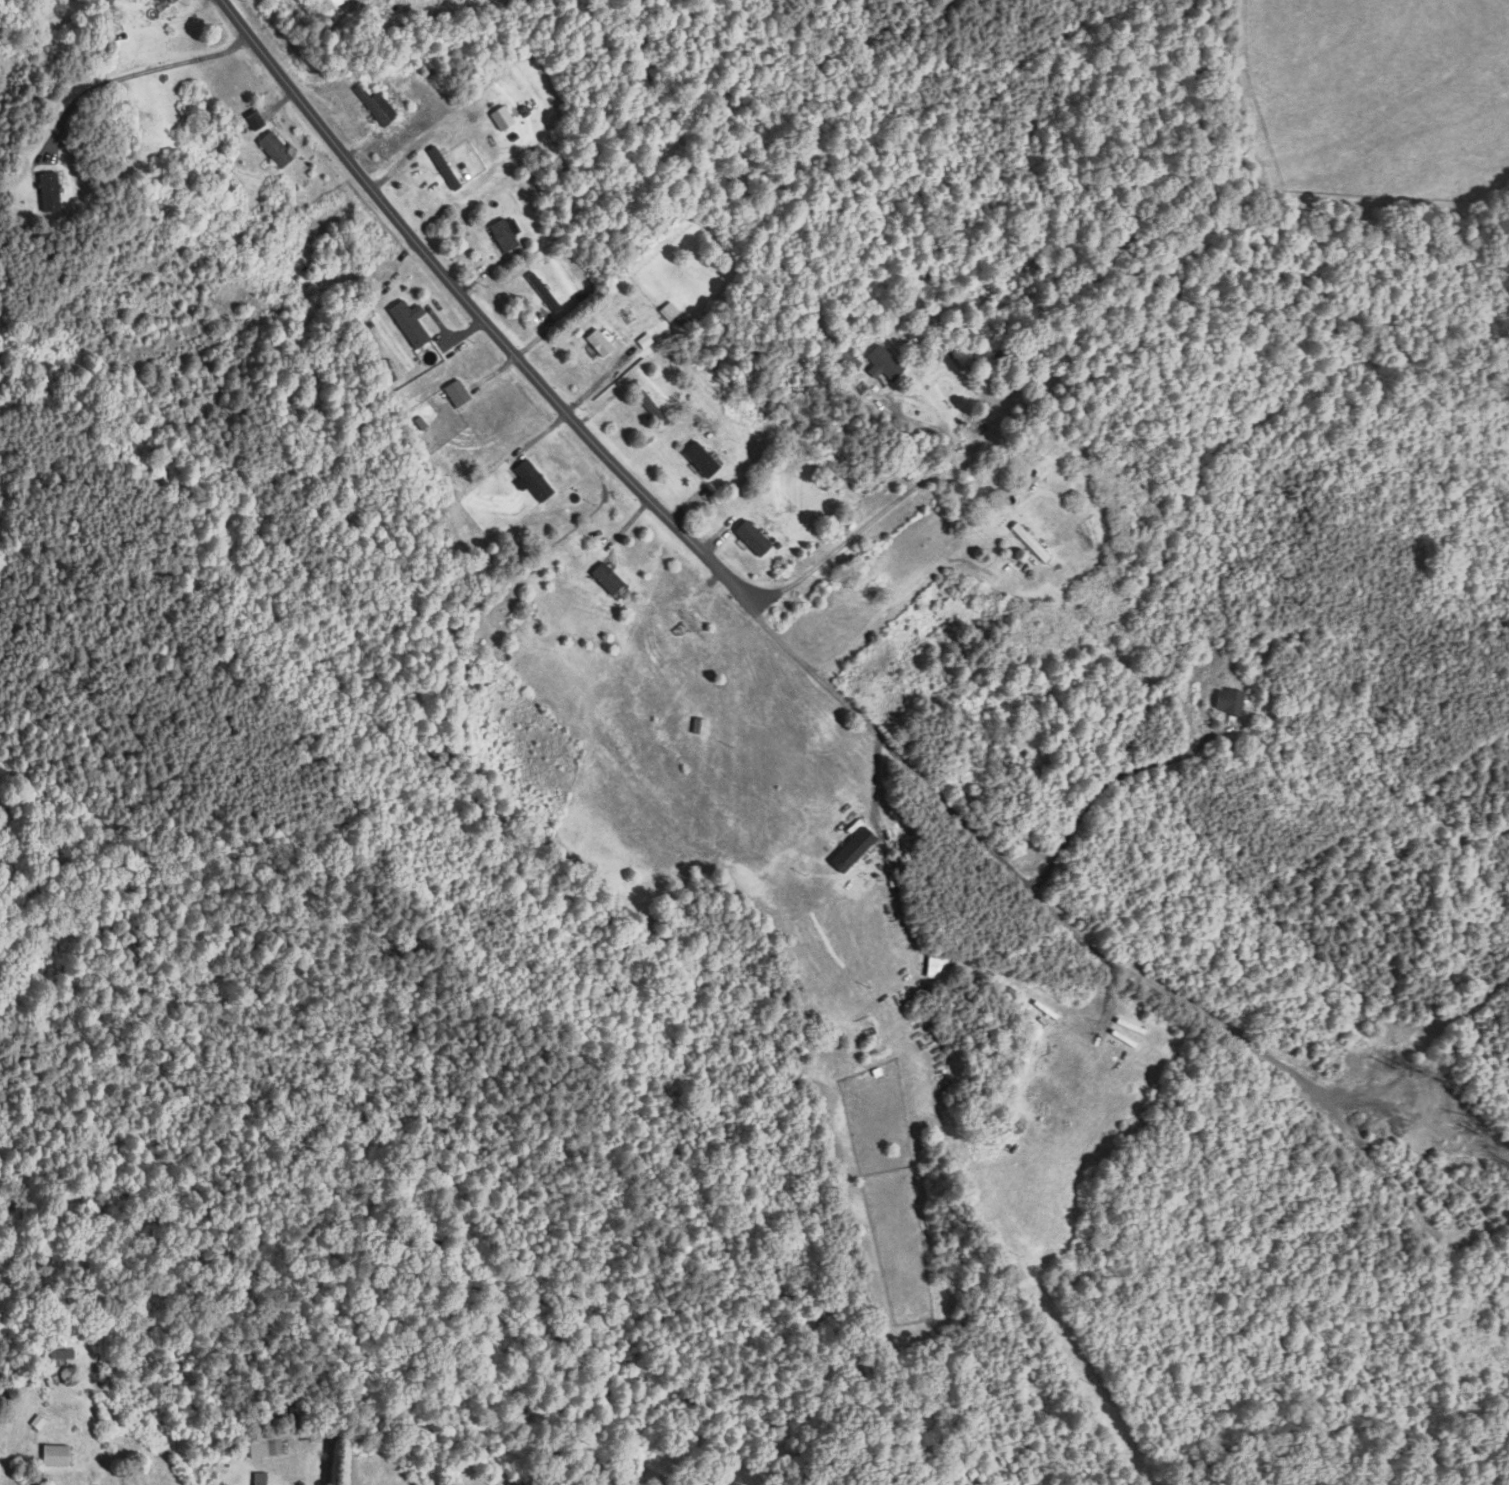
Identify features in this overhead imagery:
building: (164, 0)
road: (305, 4)
building: (330, 4)
building: (280, 7)
road: (138, 71)
building: (378, 105)
building: (508, 109)
building: (277, 149)
building: (51, 191)
building: (506, 235)
road: (476, 309)
building: (671, 312)
building: (411, 324)
building: (601, 343)
building: (849, 360)
building: (891, 362)
building: (459, 393)
building: (652, 406)
building: (703, 459)
building: (536, 480)
road: (878, 511)
building: (755, 538)
building: (1035, 542)
building: (609, 578)
road: (906, 597)
building: (689, 620)
building: (518, 621)
road: (839, 696)
building: (1232, 701)
building: (698, 727)
building: (855, 850)
road: (1042, 874)
building: (1042, 1105)
building: (942, 1307)
building: (63, 1354)
building: (58, 1456)
building: (262, 1478)

